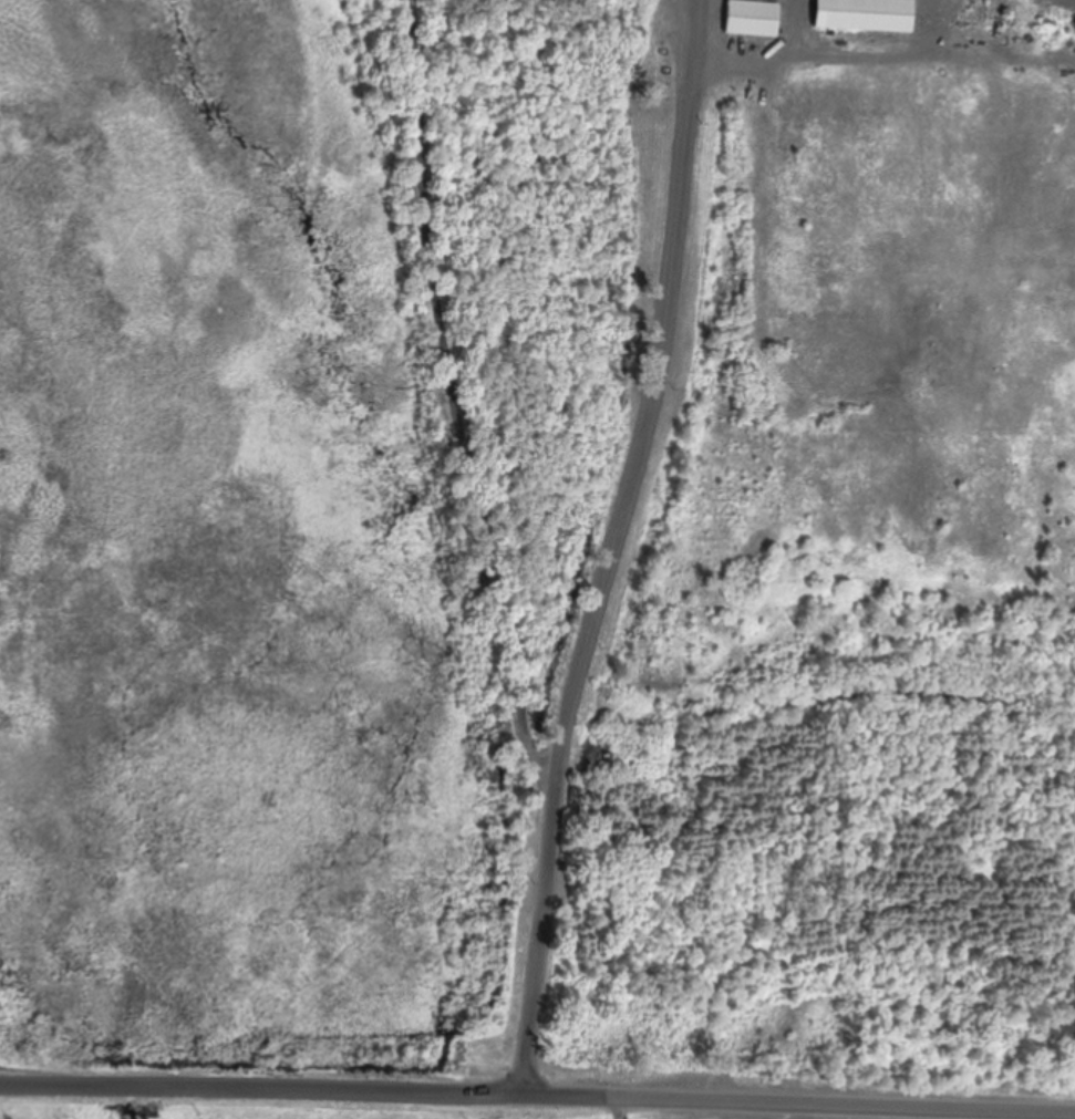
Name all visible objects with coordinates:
building: (866, 15)
building: (753, 20)
road: (640, 398)
road: (648, 551)
road: (537, 1097)

